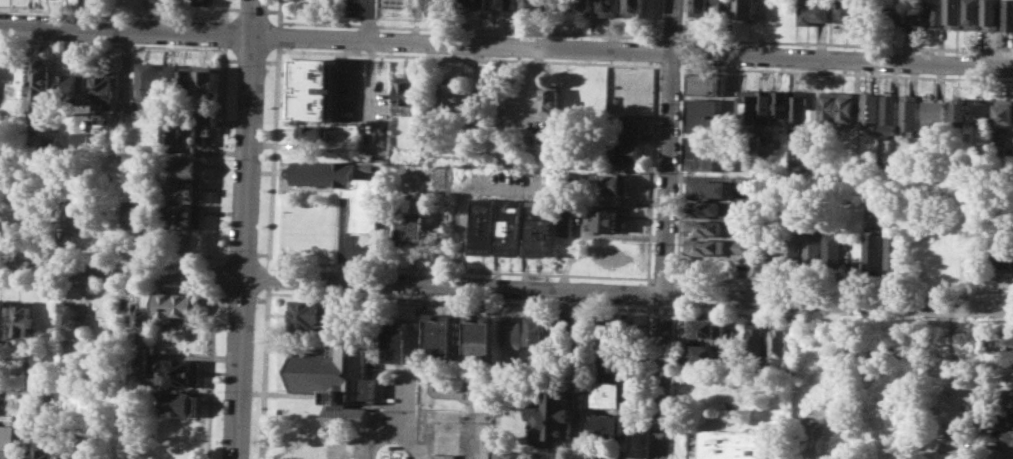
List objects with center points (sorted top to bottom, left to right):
building: (203, 2)
building: (466, 5)
building: (535, 5)
building: (611, 5)
building: (484, 6)
building: (508, 6)
parking lot: (361, 7)
building: (584, 7)
building: (636, 7)
building: (701, 7)
road: (231, 8)
building: (723, 8)
road: (251, 9)
building: (746, 9)
road: (224, 10)
road: (271, 10)
building: (811, 12)
building: (847, 12)
road: (112, 13)
road: (278, 13)
building: (954, 13)
building: (973, 13)
building: (894, 14)
building: (992, 14)
building: (1008, 15)
building: (925, 16)
road: (684, 20)
road: (366, 21)
road: (485, 28)
road: (126, 30)
road: (223, 32)
road: (277, 36)
road: (656, 36)
road: (670, 37)
road: (111, 44)
road: (461, 44)
road: (846, 44)
road: (655, 51)
road: (683, 51)
road: (467, 57)
road: (841, 58)
road: (229, 59)
road: (249, 60)
road: (269, 61)
road: (669, 65)
road: (845, 72)
building: (172, 77)
building: (189, 78)
building: (207, 79)
building: (147, 80)
building: (41, 82)
building: (706, 83)
building: (629, 84)
road: (367, 86)
building: (313, 87)
building: (72, 89)
building: (105, 89)
building: (407, 93)
building: (450, 97)
building: (550, 99)
building: (593, 100)
building: (781, 103)
building: (757, 106)
building: (827, 106)
building: (845, 107)
building: (798, 108)
building: (868, 108)
building: (932, 111)
building: (958, 111)
building: (1004, 111)
building: (908, 112)
building: (982, 112)
building: (889, 113)
building: (705, 115)
building: (811, 117)
building: (623, 128)
building: (203, 129)
building: (311, 132)
building: (377, 133)
road: (247, 139)
building: (82, 140)
road: (667, 146)
building: (704, 152)
building: (622, 153)
road: (218, 155)
road: (272, 156)
building: (188, 167)
building: (367, 167)
road: (650, 171)
road: (679, 171)
building: (610, 182)
building: (744, 183)
building: (707, 187)
building: (186, 191)
building: (873, 193)
building: (367, 205)
building: (707, 208)
building: (77, 209)
building: (135, 213)
building: (186, 216)
building: (608, 220)
building: (415, 222)
building: (566, 223)
building: (486, 225)
building: (513, 226)
building: (541, 227)
building: (705, 227)
building: (715, 246)
building: (793, 246)
building: (813, 248)
building: (833, 249)
building: (872, 249)
building: (894, 249)
road: (221, 251)
road: (241, 252)
road: (262, 253)
road: (107, 254)
building: (1001, 258)
road: (459, 268)
road: (120, 272)
road: (214, 274)
road: (267, 276)
road: (661, 277)
road: (106, 283)
road: (842, 284)
road: (452, 286)
road: (646, 293)
road: (675, 294)
road: (220, 297)
road: (240, 298)
road: (260, 299)
road: (458, 301)
road: (837, 301)
building: (173, 305)
road: (660, 309)
road: (730, 312)
building: (311, 314)
building: (4, 318)
building: (24, 318)
building: (70, 319)
building: (143, 319)
building: (613, 321)
road: (1001, 322)
building: (704, 327)
building: (535, 331)
building: (512, 333)
building: (560, 334)
building: (442, 336)
building: (1009, 337)
building: (483, 338)
building: (754, 339)
building: (400, 341)
building: (613, 342)
building: (776, 343)
building: (703, 352)
building: (1006, 357)
building: (614, 363)
road: (238, 368)
road: (209, 371)
building: (179, 372)
road: (264, 372)
road: (659, 375)
building: (339, 380)
road: (642, 381)
road: (672, 382)
building: (731, 392)
building: (611, 395)
building: (1006, 396)
building: (181, 404)
building: (1006, 417)
building: (552, 419)
building: (609, 427)
building: (1009, 436)
building: (309, 443)
building: (727, 444)
building: (66, 445)
building: (43, 447)
building: (1007, 453)
building: (5, 454)
building: (508, 454)

